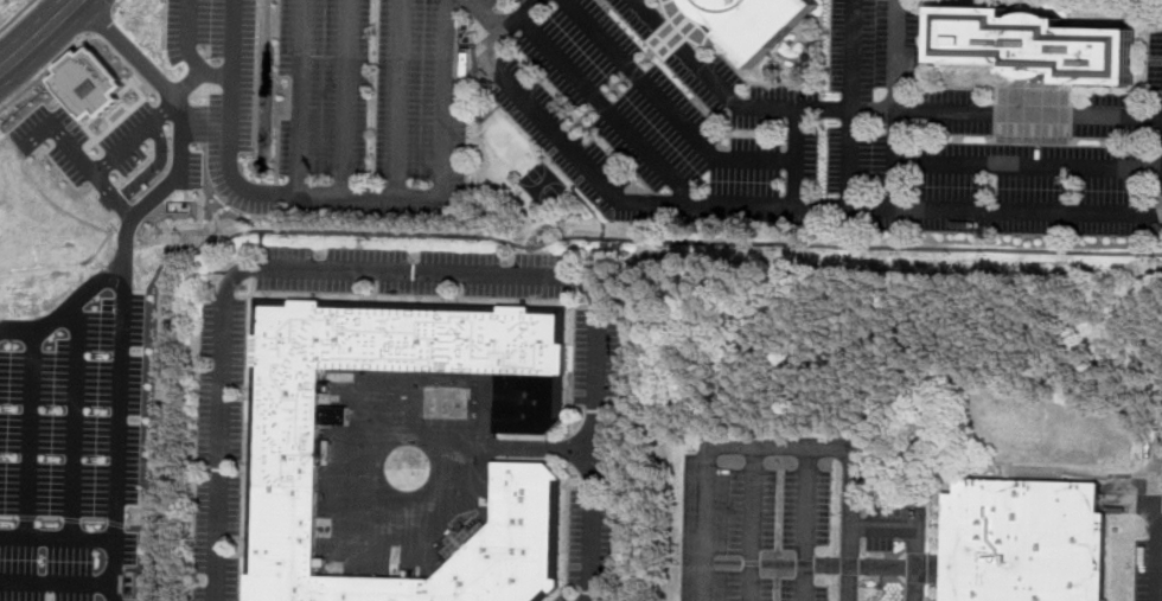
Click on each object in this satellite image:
road: (530, 1)
road: (117, 4)
road: (15, 14)
road: (481, 15)
road: (100, 21)
building: (753, 23)
road: (505, 25)
road: (40, 38)
building: (1036, 46)
road: (190, 52)
road: (142, 62)
road: (44, 73)
building: (90, 83)
road: (621, 84)
road: (344, 97)
road: (397, 98)
road: (851, 103)
road: (895, 103)
road: (605, 108)
road: (668, 108)
road: (875, 109)
parking lot: (640, 119)
road: (230, 124)
road: (89, 132)
parking lot: (120, 143)
park: (507, 143)
road: (794, 156)
road: (1028, 164)
road: (155, 167)
parking lot: (191, 170)
road: (97, 171)
road: (161, 192)
road: (113, 196)
road: (372, 196)
road: (583, 202)
road: (786, 205)
road: (486, 238)
road: (404, 271)
parking lot: (413, 271)
road: (68, 309)
parking lot: (595, 356)
road: (76, 420)
parking lot: (77, 424)
road: (30, 434)
road: (119, 446)
building: (282, 446)
parking lot: (218, 449)
road: (542, 449)
road: (853, 450)
road: (1157, 518)
road: (704, 522)
road: (753, 523)
road: (806, 524)
parking lot: (894, 524)
road: (918, 530)
parking lot: (753, 531)
road: (57, 538)
parking lot: (590, 541)
building: (1024, 541)
road: (823, 563)
parking lot: (46, 564)
parking lot: (1149, 570)
road: (57, 586)
parking lot: (561, 599)

